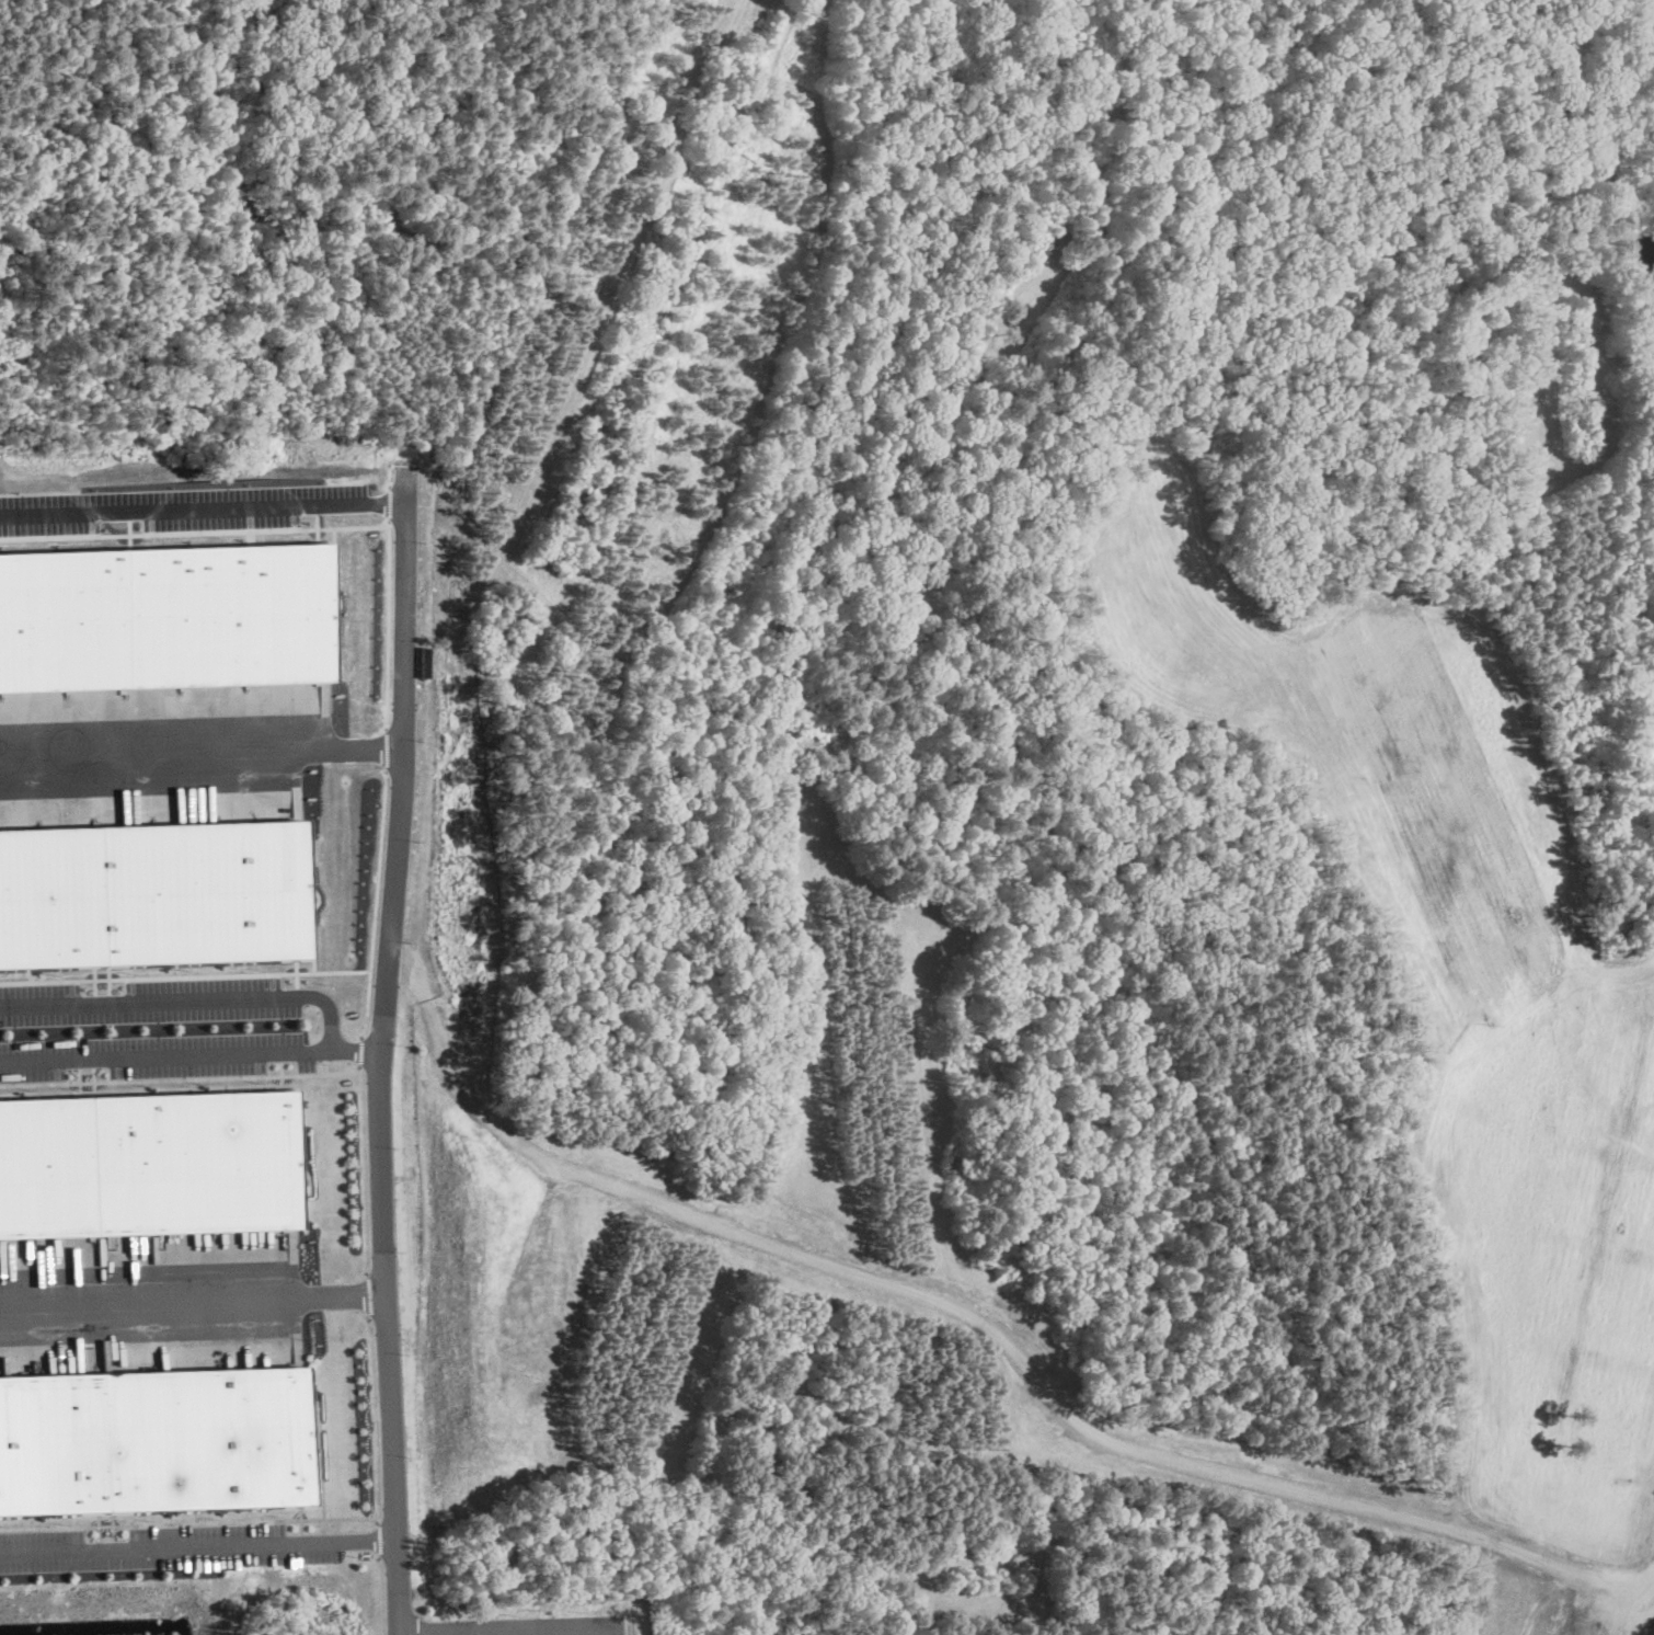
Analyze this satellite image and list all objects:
road: (203, 507)
road: (388, 625)
quarry: (1033, 648)
road: (384, 751)
road: (202, 752)
building: (152, 892)
road: (376, 905)
road: (185, 975)
road: (191, 998)
road: (363, 1051)
road: (381, 1055)
road: (191, 1056)
road: (181, 1078)
building: (152, 1163)
road: (366, 1167)
road: (369, 1295)
road: (192, 1300)
road: (372, 1420)
building: (153, 1440)
road: (187, 1522)
road: (376, 1539)
road: (196, 1546)
road: (378, 1594)
road: (506, 1632)
road: (460, 1634)

